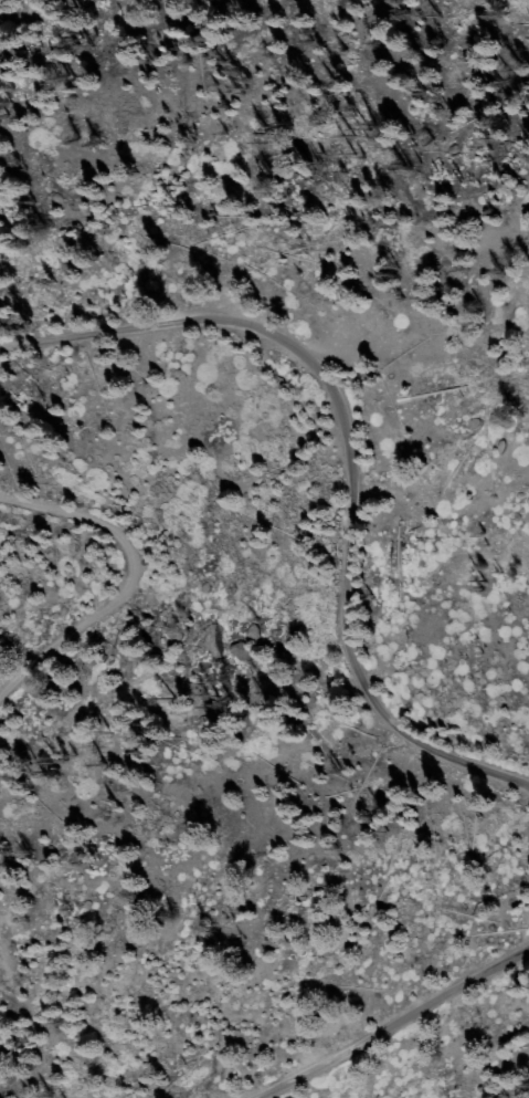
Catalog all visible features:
road: (349, 459)
road: (125, 576)
road: (392, 1025)

